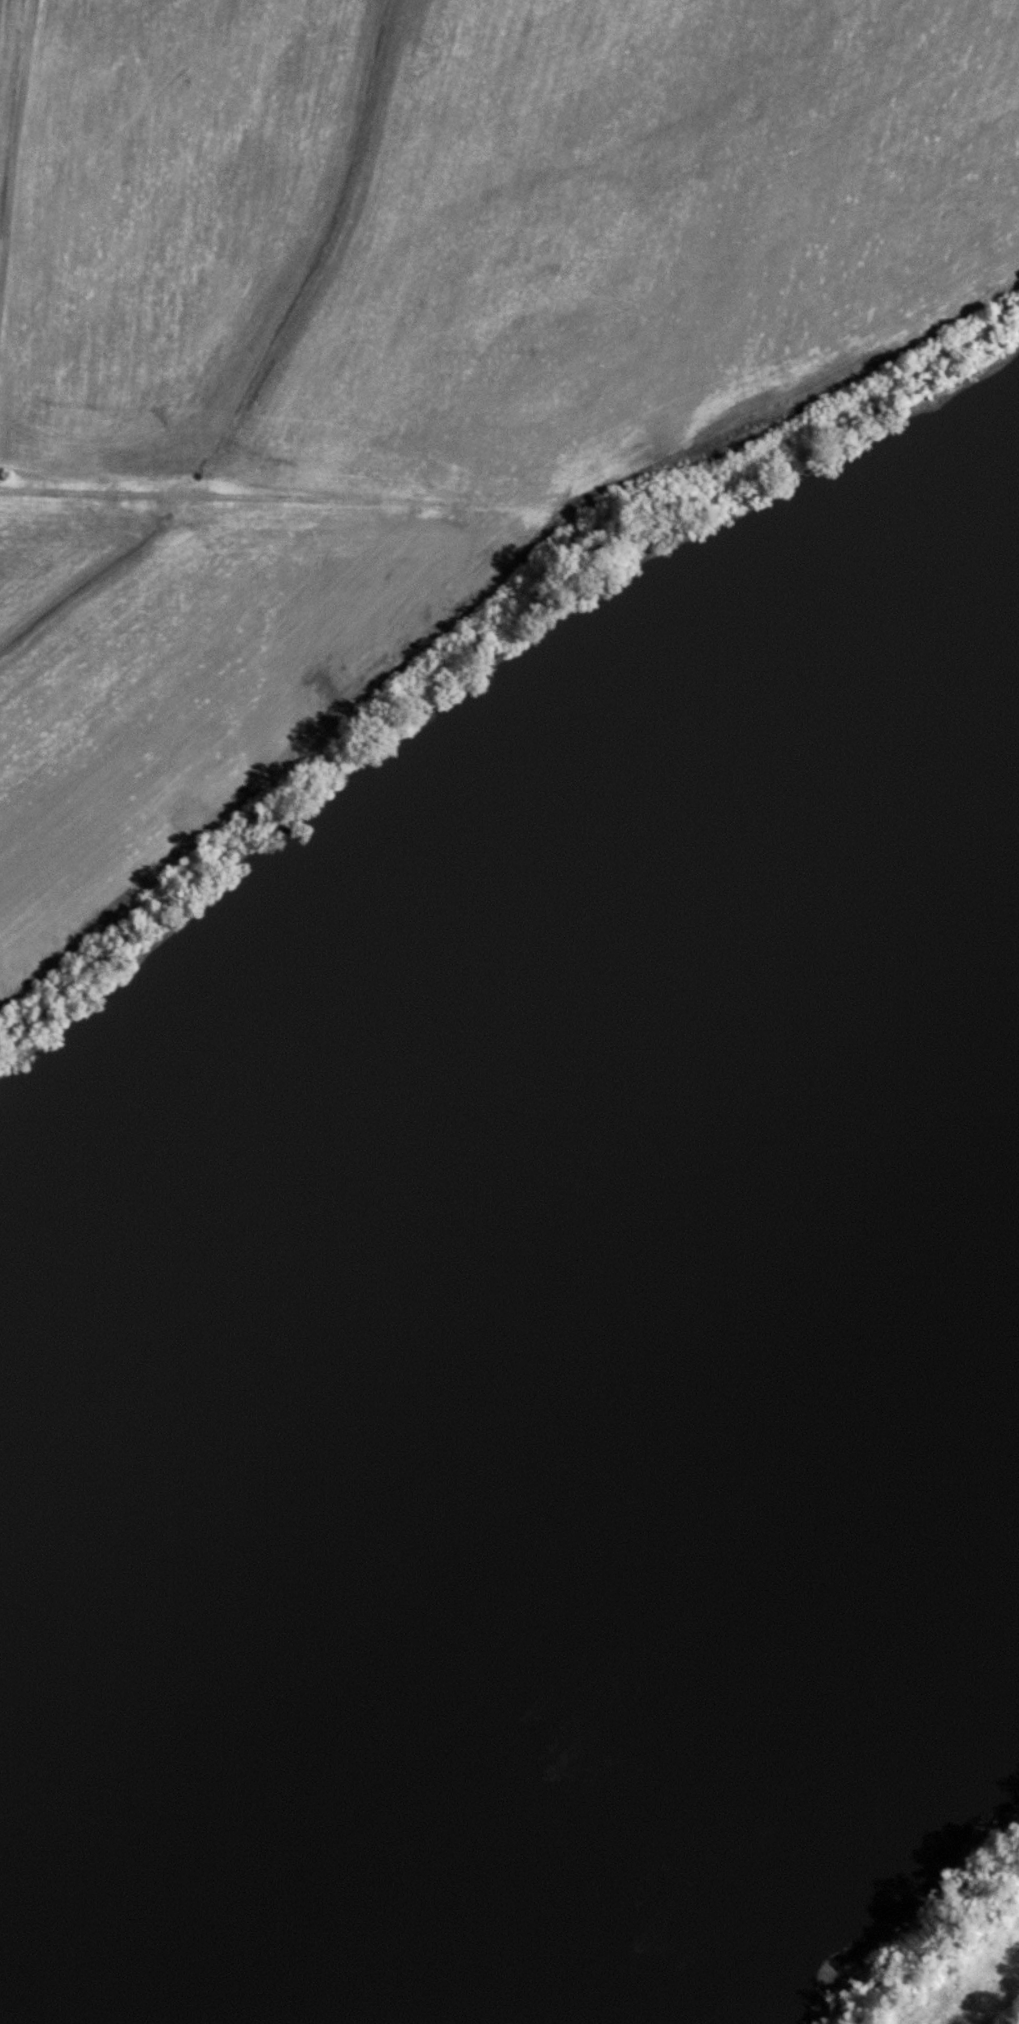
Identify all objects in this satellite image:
road: (11, 174)
road: (534, 509)
river: (492, 1404)

